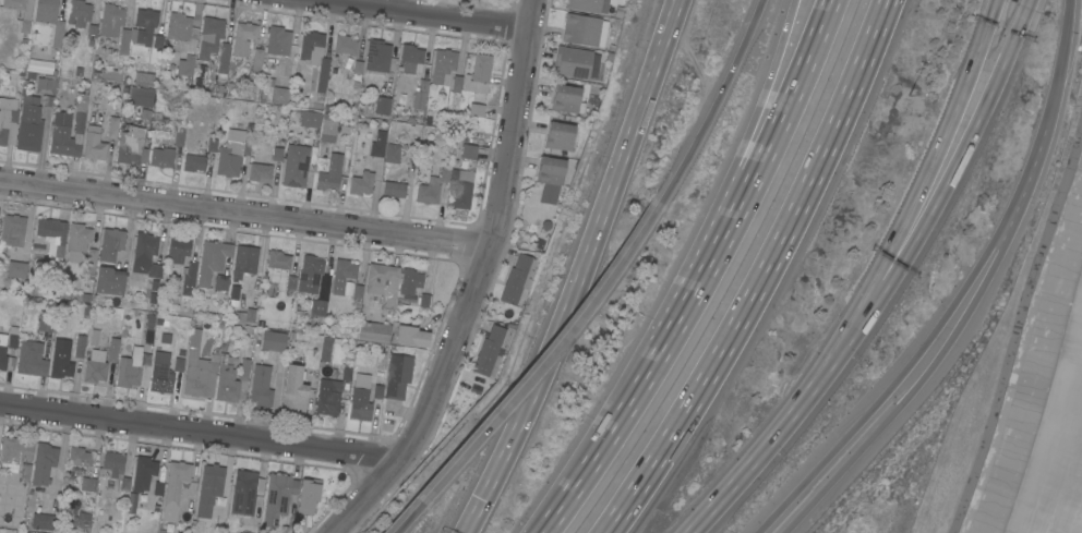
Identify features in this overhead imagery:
road: (674, 0)
road: (674, 0)
road: (1025, 3)
building: (588, 5)
building: (79, 13)
road: (425, 14)
building: (50, 20)
building: (110, 20)
building: (25, 21)
building: (145, 25)
building: (178, 27)
building: (581, 29)
building: (209, 37)
building: (243, 38)
building: (124, 41)
building: (278, 41)
building: (345, 45)
building: (377, 56)
building: (314, 57)
building: (224, 58)
building: (256, 61)
building: (412, 61)
building: (576, 62)
road: (1059, 64)
building: (358, 66)
building: (443, 66)
building: (185, 69)
building: (479, 74)
building: (113, 75)
building: (144, 78)
building: (46, 85)
building: (270, 92)
building: (419, 95)
building: (141, 97)
building: (567, 99)
building: (345, 100)
road: (713, 102)
building: (378, 108)
building: (476, 110)
building: (310, 119)
building: (8, 121)
building: (29, 124)
building: (112, 128)
road: (752, 128)
building: (69, 133)
building: (179, 136)
building: (560, 136)
building: (94, 144)
building: (377, 145)
building: (130, 149)
building: (469, 152)
building: (392, 154)
building: (328, 155)
building: (231, 157)
building: (161, 158)
road: (933, 158)
building: (194, 162)
building: (296, 166)
road: (953, 166)
road: (1031, 169)
building: (550, 170)
building: (261, 172)
building: (361, 183)
building: (432, 187)
building: (460, 187)
building: (393, 190)
road: (244, 215)
building: (12, 229)
building: (52, 238)
building: (77, 241)
building: (113, 243)
building: (178, 250)
building: (92, 259)
building: (212, 261)
building: (278, 261)
building: (244, 262)
road: (586, 262)
building: (147, 263)
building: (16, 269)
building: (310, 274)
building: (342, 275)
road: (761, 275)
road: (700, 277)
building: (519, 279)
building: (110, 281)
building: (189, 281)
building: (409, 281)
building: (220, 282)
road: (473, 282)
building: (383, 283)
building: (425, 299)
building: (318, 307)
building: (46, 322)
building: (373, 331)
building: (411, 337)
building: (274, 341)
building: (80, 344)
building: (492, 347)
building: (112, 348)
building: (326, 348)
building: (4, 355)
road: (546, 358)
building: (32, 359)
building: (61, 360)
building: (98, 368)
building: (133, 372)
building: (199, 375)
building: (160, 376)
building: (398, 376)
building: (243, 378)
road: (897, 379)
building: (226, 381)
road: (916, 383)
building: (261, 386)
building: (294, 390)
building: (377, 390)
building: (328, 397)
building: (360, 399)
road: (779, 426)
road: (201, 434)
building: (16, 456)
building: (79, 457)
building: (43, 463)
building: (113, 463)
building: (143, 473)
building: (124, 484)
building: (88, 485)
building: (158, 488)
building: (209, 488)
building: (176, 493)
building: (244, 493)
building: (277, 497)
building: (308, 497)
road: (407, 518)
building: (44, 521)
building: (82, 522)
road: (470, 523)

